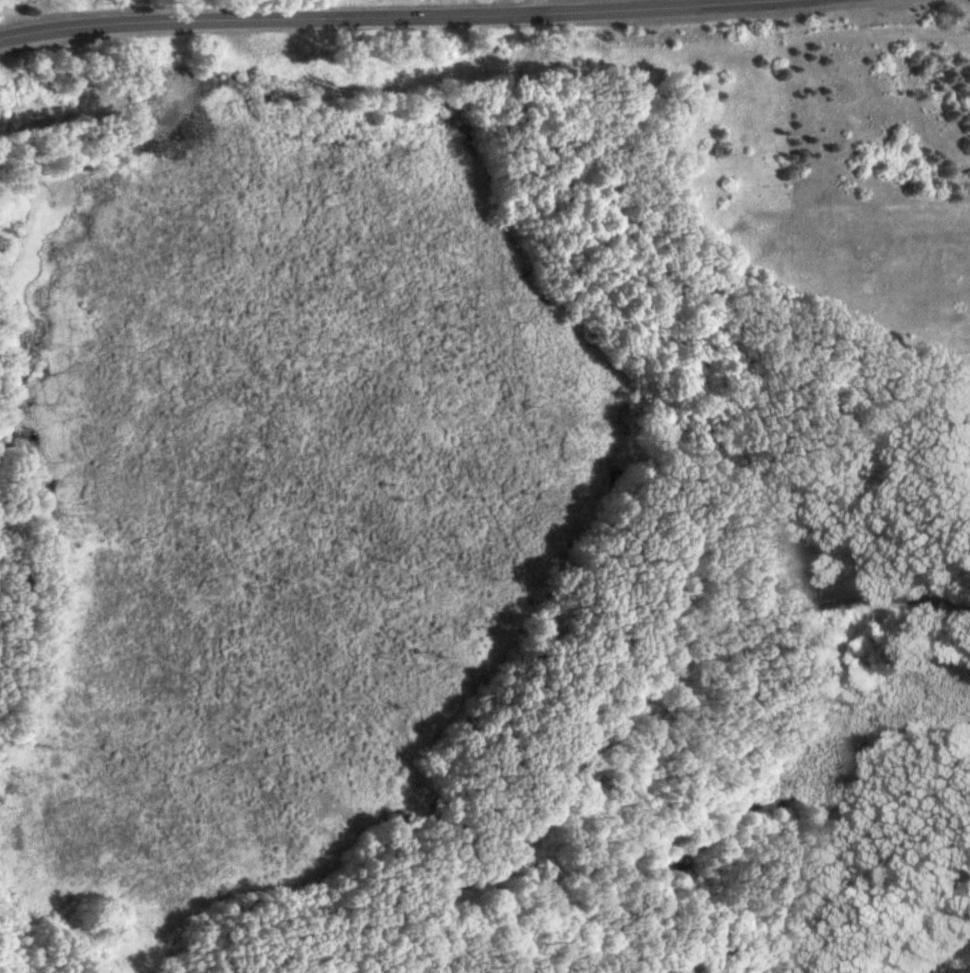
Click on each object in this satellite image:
road: (497, 14)
road: (78, 28)
road: (621, 724)

